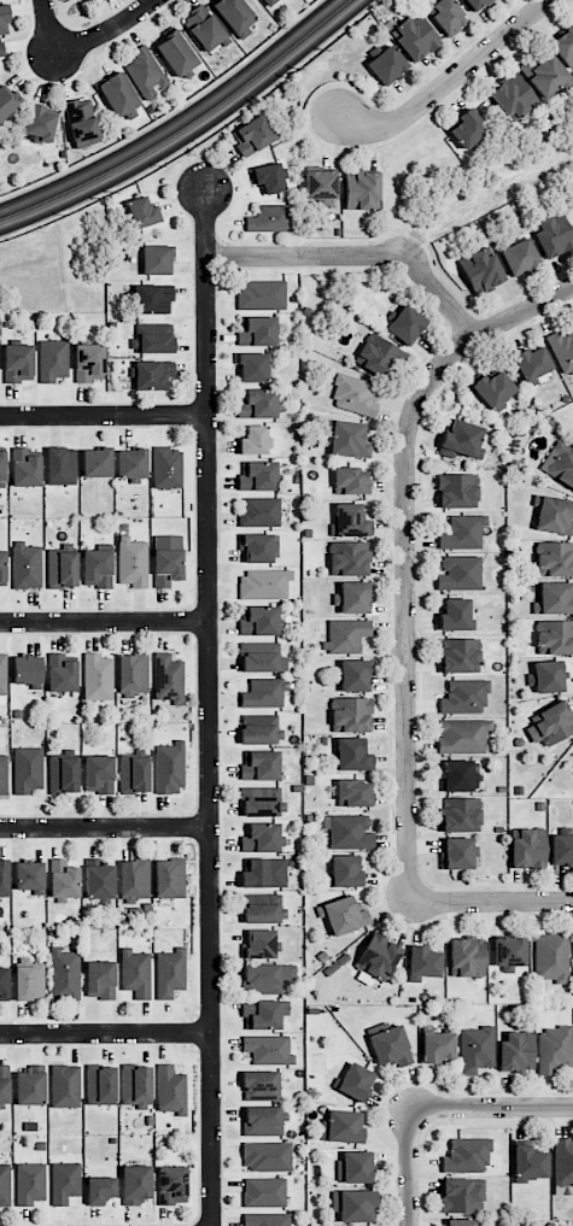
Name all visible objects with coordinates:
building: (271, 2)
building: (476, 4)
building: (234, 16)
building: (446, 16)
building: (4, 20)
road: (47, 28)
building: (203, 28)
road: (107, 33)
building: (414, 36)
building: (563, 46)
building: (1, 49)
building: (175, 53)
building: (386, 64)
building: (145, 72)
building: (544, 74)
road: (450, 77)
building: (118, 95)
building: (513, 96)
building: (7, 101)
building: (81, 121)
building: (39, 123)
road: (186, 128)
building: (467, 129)
building: (252, 135)
building: (268, 177)
building: (321, 184)
building: (359, 188)
building: (142, 212)
building: (269, 218)
building: (552, 234)
road: (361, 252)
building: (519, 256)
building: (157, 259)
building: (481, 270)
building: (261, 294)
building: (153, 299)
building: (405, 324)
building: (257, 330)
building: (152, 338)
building: (562, 351)
building: (378, 356)
building: (52, 359)
building: (18, 362)
building: (88, 362)
building: (532, 363)
building: (252, 366)
building: (152, 374)
building: (493, 388)
building: (355, 394)
building: (257, 404)
road: (104, 415)
road: (411, 418)
building: (349, 439)
building: (255, 440)
building: (461, 440)
building: (97, 462)
building: (131, 464)
building: (559, 464)
building: (60, 465)
building: (24, 468)
building: (166, 468)
building: (2, 469)
building: (257, 475)
building: (351, 480)
building: (457, 491)
building: (259, 511)
building: (552, 515)
building: (350, 521)
building: (462, 532)
building: (256, 547)
building: (349, 558)
building: (554, 558)
building: (166, 559)
building: (133, 562)
building: (25, 565)
building: (62, 568)
building: (97, 568)
building: (2, 569)
building: (458, 573)
building: (263, 583)
building: (352, 597)
building: (554, 598)
building: (456, 615)
building: (258, 620)
road: (104, 622)
building: (345, 635)
building: (555, 637)
road: (399, 649)
road: (415, 649)
building: (460, 656)
building: (262, 657)
building: (28, 670)
building: (62, 673)
building: (133, 674)
building: (355, 675)
building: (97, 676)
building: (546, 676)
building: (168, 677)
building: (2, 679)
building: (264, 692)
building: (463, 696)
road: (209, 708)
building: (350, 714)
building: (551, 722)
building: (259, 729)
building: (462, 735)
building: (351, 753)
building: (259, 764)
building: (169, 768)
building: (27, 769)
building: (133, 773)
building: (4, 774)
building: (63, 774)
building: (98, 774)
building: (460, 775)
road: (408, 784)
building: (352, 793)
building: (262, 800)
building: (460, 814)
road: (105, 827)
building: (350, 831)
building: (261, 838)
building: (528, 847)
building: (561, 849)
building: (456, 852)
building: (345, 870)
building: (264, 873)
building: (29, 876)
building: (4, 878)
building: (134, 878)
building: (169, 878)
building: (99, 879)
building: (63, 880)
road: (491, 901)
building: (263, 908)
building: (343, 915)
building: (259, 944)
building: (509, 952)
building: (378, 956)
building: (466, 956)
building: (551, 956)
building: (422, 962)
building: (135, 973)
building: (170, 973)
building: (64, 974)
building: (265, 976)
building: (99, 979)
building: (29, 981)
building: (4, 982)
building: (263, 1014)
road: (105, 1032)
building: (390, 1046)
building: (437, 1046)
building: (268, 1049)
building: (475, 1049)
building: (554, 1049)
building: (515, 1051)
building: (356, 1081)
building: (4, 1084)
building: (100, 1084)
building: (261, 1084)
building: (30, 1085)
building: (64, 1085)
building: (135, 1085)
building: (170, 1090)
road: (491, 1107)
building: (263, 1120)
building: (341, 1126)
building: (267, 1155)
building: (467, 1155)
building: (528, 1163)
building: (562, 1165)
building: (353, 1166)
road: (410, 1168)
building: (64, 1181)
building: (30, 1183)
building: (4, 1184)
building: (135, 1184)
building: (171, 1184)
building: (100, 1189)
building: (264, 1191)
building: (461, 1195)
building: (353, 1204)
building: (265, 1219)
building: (460, 1222)

